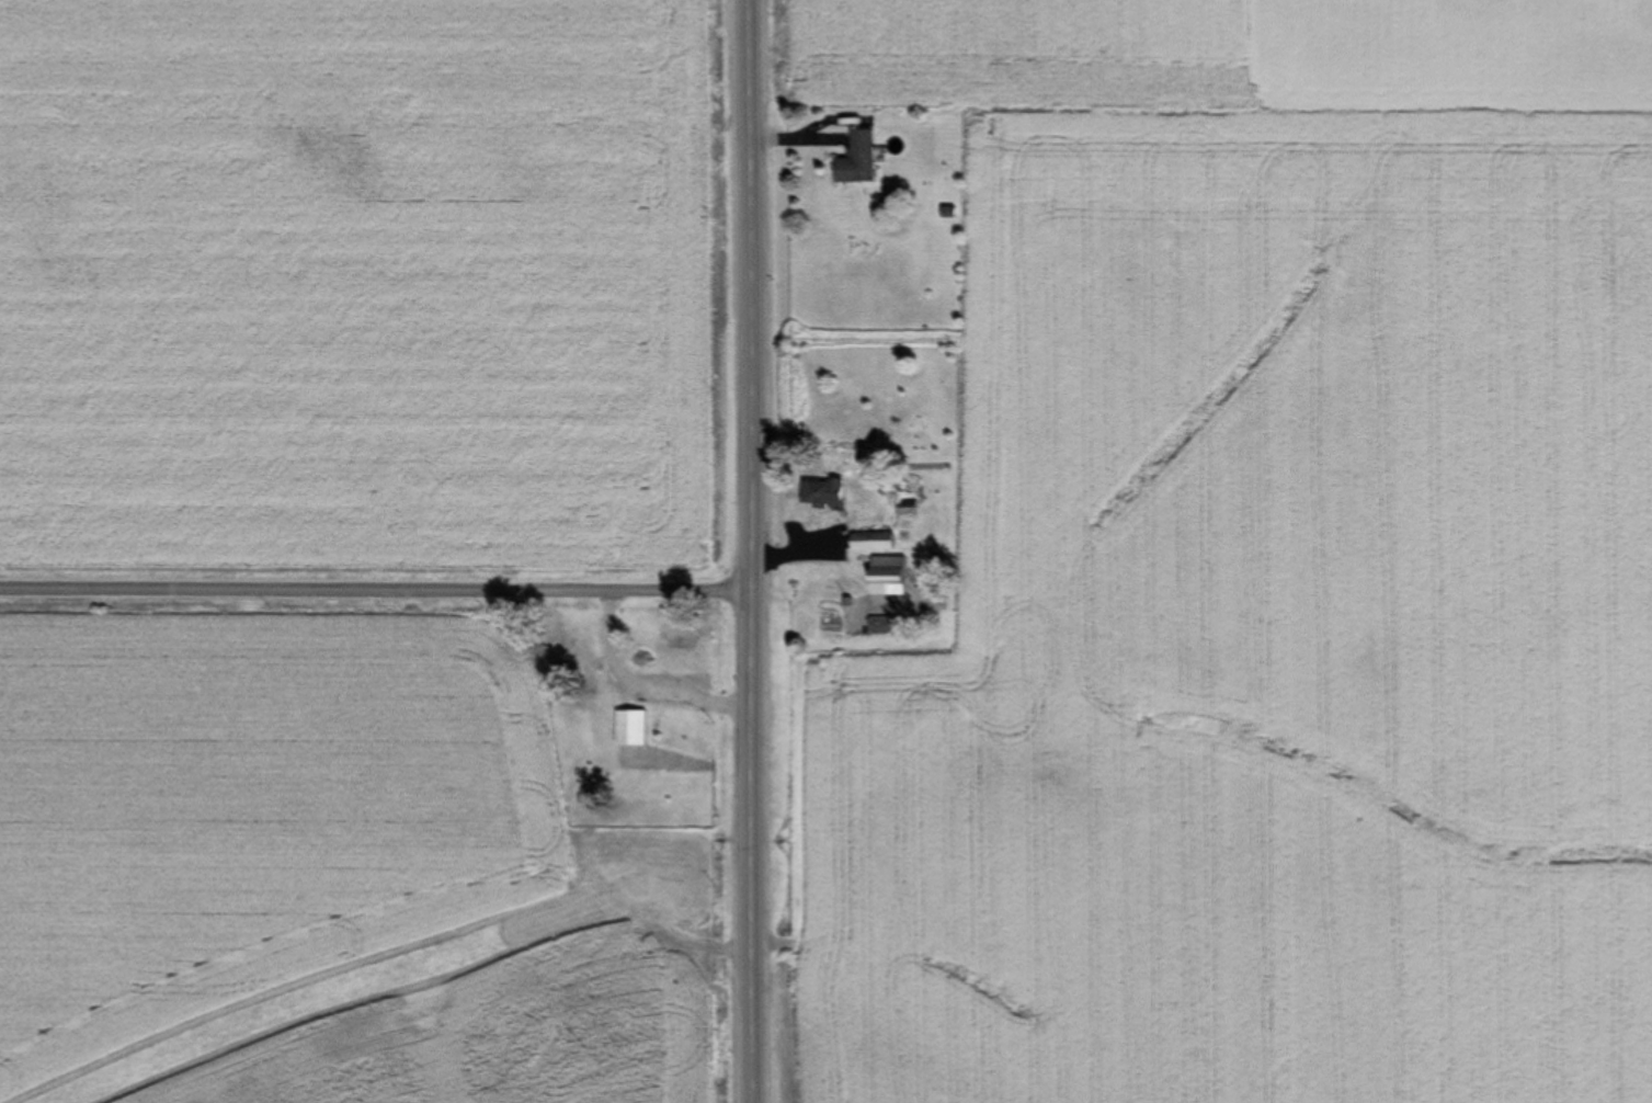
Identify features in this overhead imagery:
building: (856, 160)
building: (820, 493)
building: (870, 542)
road: (753, 550)
building: (886, 577)
road: (376, 594)
building: (879, 626)
building: (630, 729)

